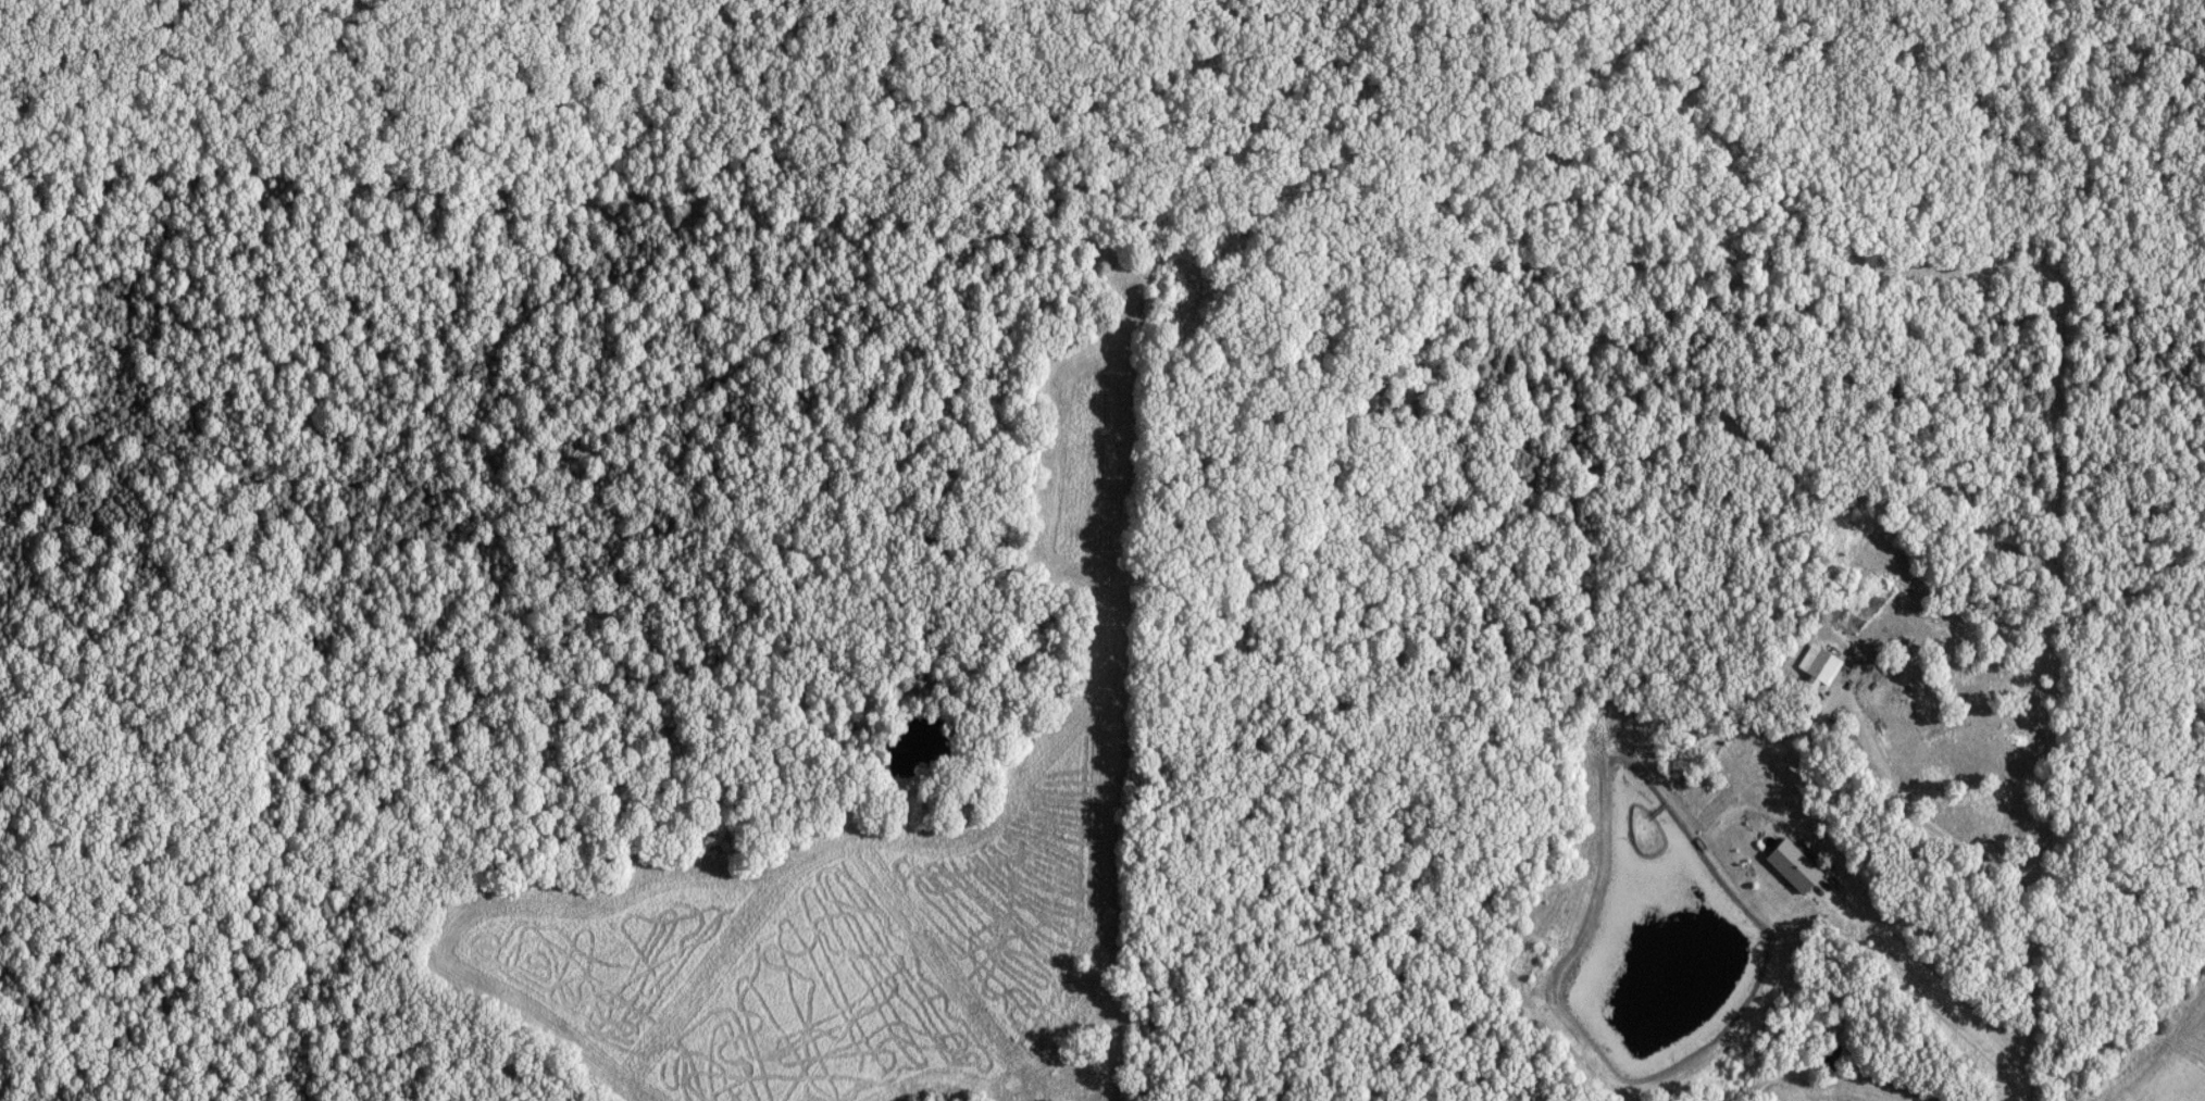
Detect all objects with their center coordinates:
building: (1812, 684)
road: (1856, 901)

